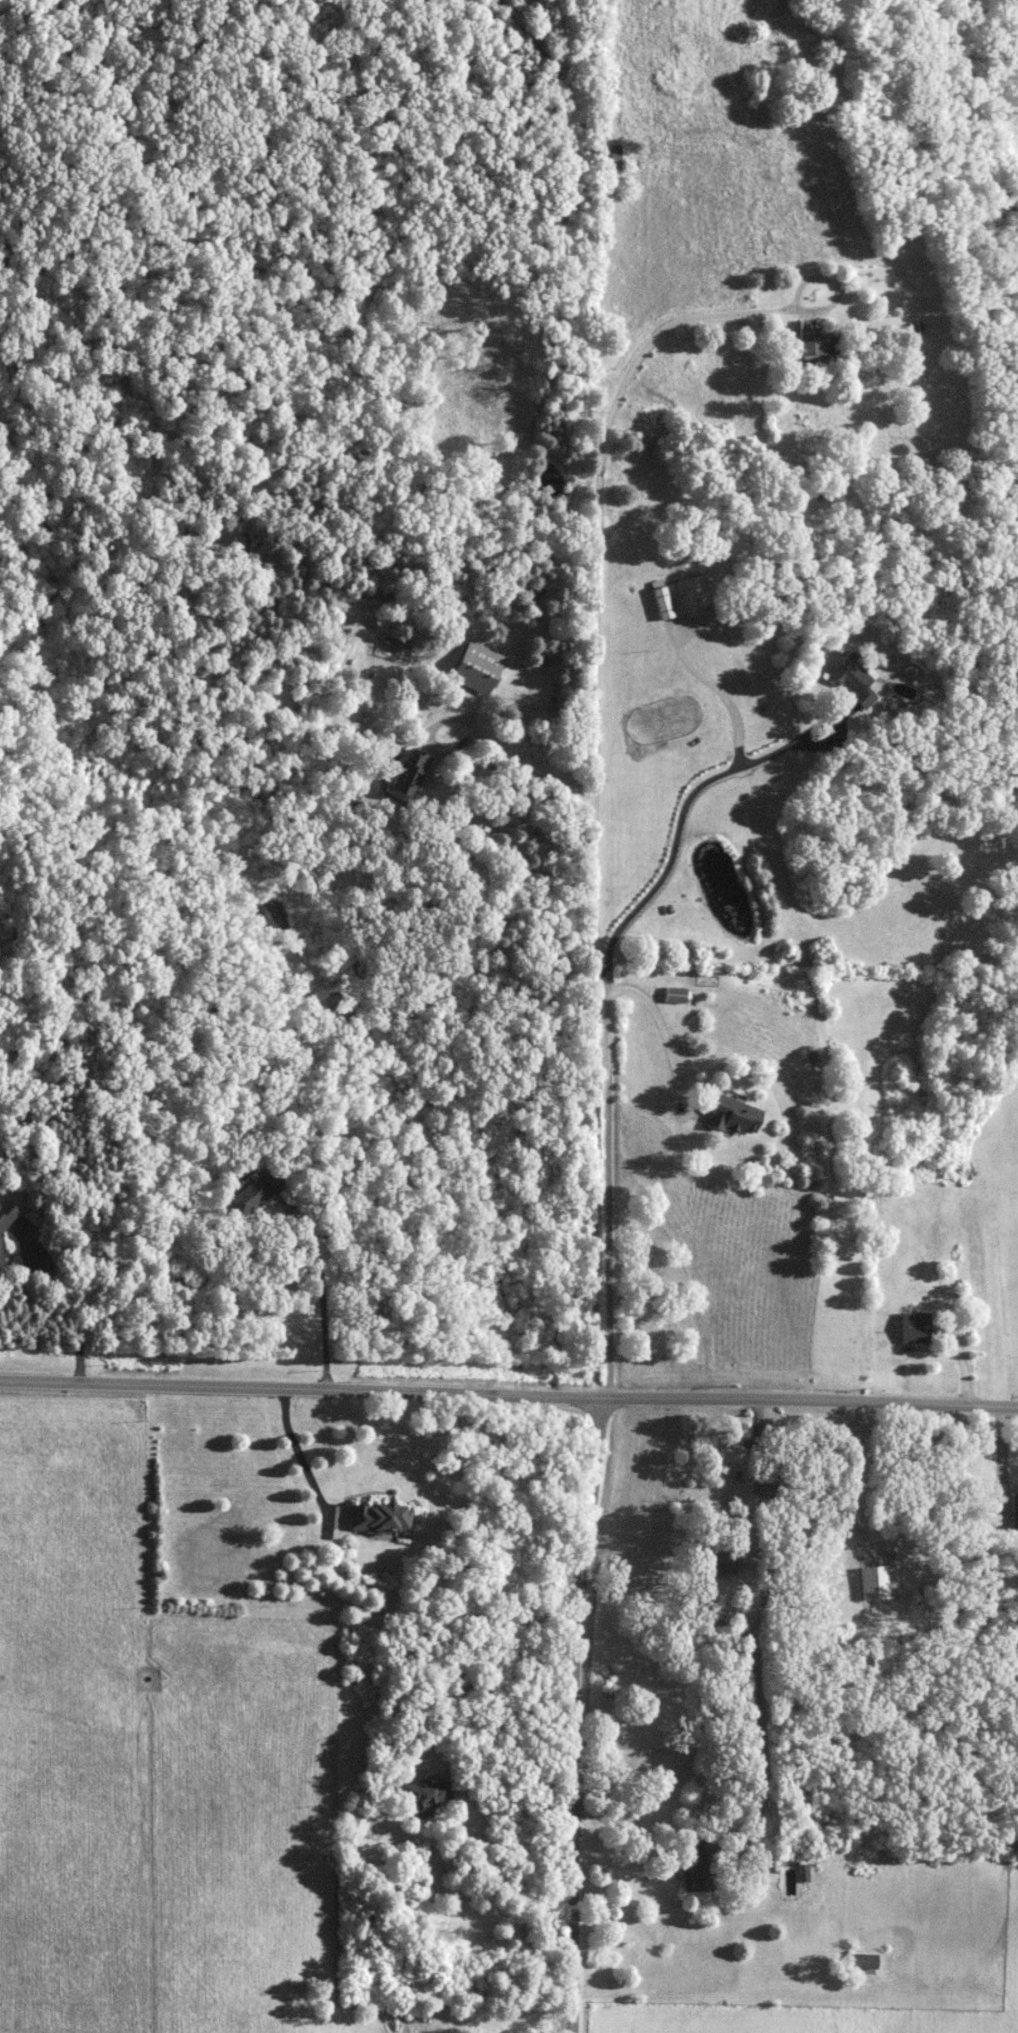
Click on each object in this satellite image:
building: (610, 102)
building: (613, 156)
building: (812, 342)
building: (687, 593)
building: (659, 602)
road: (596, 648)
building: (474, 667)
building: (849, 681)
road: (516, 750)
building: (407, 773)
building: (672, 995)
road: (606, 1017)
road: (663, 1035)
building: (731, 1116)
building: (251, 1193)
building: (5, 1215)
building: (1, 1255)
road: (593, 1258)
road: (319, 1288)
building: (912, 1327)
road: (509, 1390)
road: (297, 1449)
road: (998, 1455)
road: (854, 1473)
building: (768, 1480)
building: (1013, 1510)
building: (376, 1517)
building: (717, 1561)
road: (589, 1715)
building: (424, 1796)
building: (355, 1820)
road: (630, 1829)
building: (696, 1866)
road: (485, 1870)
road: (471, 1930)
building: (860, 1960)

